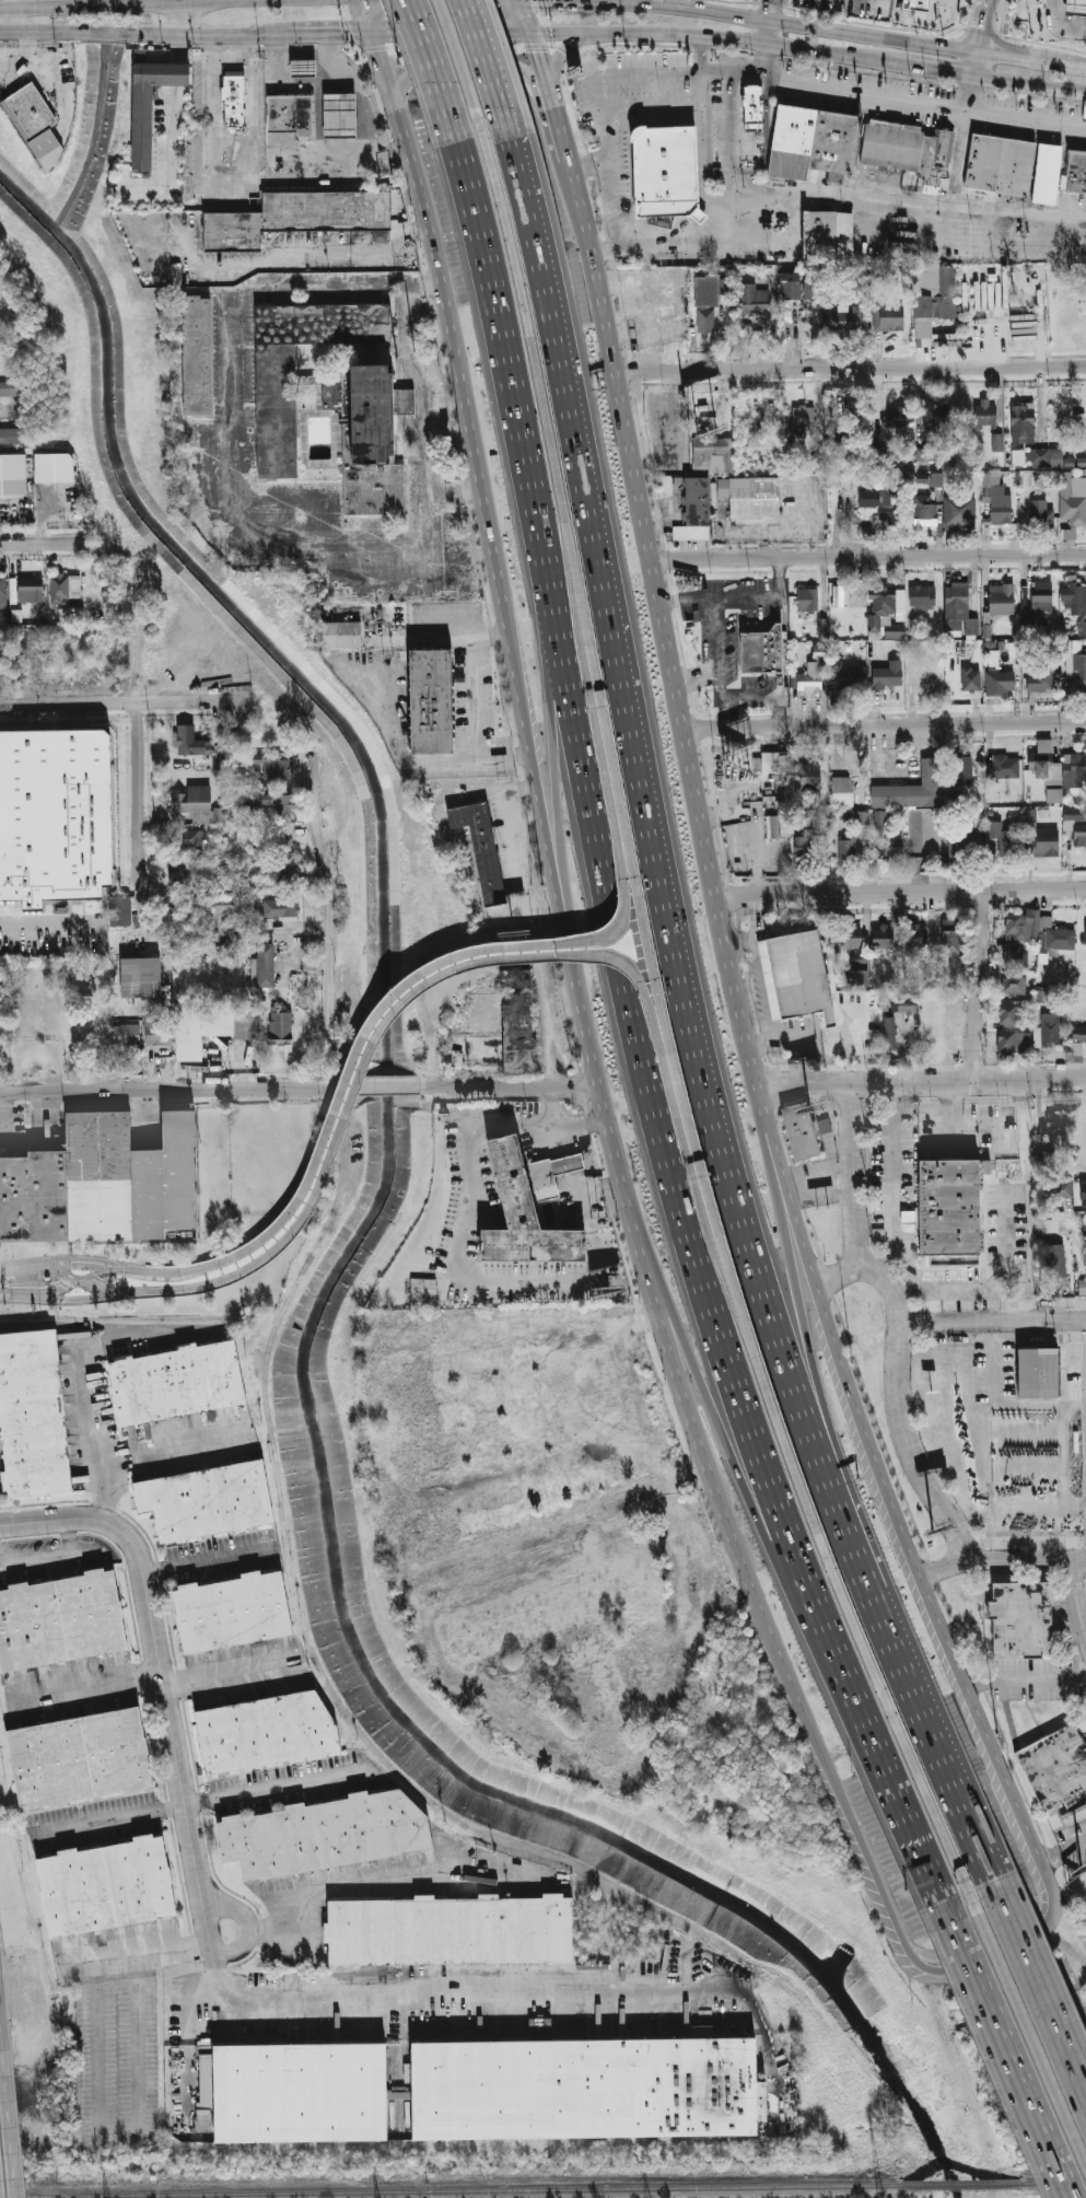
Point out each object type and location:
road: (372, 0)
traffic signals: (383, 0)
road: (189, 1)
road: (250, 1)
road: (115, 4)
road: (44, 7)
building: (918, 7)
building: (1077, 8)
gas station: (1077, 8)
road: (951, 9)
road: (769, 10)
road: (526, 16)
road: (366, 18)
road: (187, 20)
road: (11, 21)
road: (914, 22)
road: (795, 23)
road: (980, 24)
road: (1060, 24)
road: (1001, 26)
road: (766, 31)
road: (42, 34)
road: (112, 34)
road: (453, 35)
traffic signals: (510, 35)
road: (712, 35)
road: (214, 36)
road: (332, 36)
traffic signals: (346, 36)
road: (427, 53)
traffic signals: (538, 53)
road: (456, 54)
road: (484, 54)
road: (292, 55)
road: (229, 56)
road: (560, 56)
road: (1024, 56)
road: (764, 59)
road: (974, 63)
road: (1078, 63)
road: (268, 67)
road: (542, 67)
building: (301, 68)
gas station: (301, 68)
road: (345, 69)
road: (932, 70)
road: (627, 77)
road: (476, 81)
road: (1029, 85)
road: (969, 94)
road: (892, 97)
building: (236, 98)
building: (148, 105)
road: (252, 105)
building: (750, 108)
building: (30, 111)
building: (289, 114)
building: (338, 115)
gas station: (338, 115)
road: (318, 126)
road: (364, 130)
road: (563, 132)
building: (809, 141)
building: (906, 153)
road: (958, 158)
building: (383, 162)
building: (996, 165)
building: (664, 171)
building: (1074, 171)
building: (1044, 173)
road: (208, 174)
road: (609, 184)
road: (725, 194)
road: (908, 200)
building: (299, 216)
road: (506, 223)
building: (828, 233)
road: (609, 251)
road: (292, 255)
road: (677, 255)
road: (422, 280)
building: (790, 286)
building: (808, 288)
building: (710, 289)
building: (752, 299)
building: (933, 299)
building: (638, 313)
building: (844, 317)
building: (888, 317)
building: (705, 319)
road: (501, 346)
building: (404, 349)
building: (196, 356)
road: (852, 369)
road: (419, 385)
building: (7, 387)
building: (404, 402)
building: (276, 410)
building: (984, 412)
building: (804, 416)
building: (898, 416)
building: (936, 418)
building: (1023, 423)
building: (9, 432)
building: (997, 442)
building: (373, 446)
building: (711, 453)
building: (925, 453)
building: (1017, 456)
building: (1043, 457)
building: (1070, 457)
building: (57, 466)
road: (551, 466)
building: (15, 474)
building: (936, 479)
building: (723, 487)
road: (453, 488)
building: (754, 499)
building: (1073, 502)
building: (879, 503)
building: (999, 507)
building: (694, 510)
building: (960, 513)
building: (923, 514)
building: (1040, 514)
road: (767, 532)
road: (44, 545)
road: (869, 558)
road: (425, 581)
building: (63, 586)
building: (30, 590)
building: (3, 591)
building: (841, 595)
building: (921, 595)
road: (498, 596)
building: (1040, 596)
road: (738, 597)
building: (807, 598)
building: (1076, 598)
building: (1001, 600)
building: (880, 604)
building: (959, 605)
building: (70, 615)
building: (1028, 617)
road: (666, 624)
building: (822, 627)
building: (1082, 628)
building: (986, 631)
building: (343, 635)
road: (459, 637)
road: (783, 648)
building: (760, 649)
building: (1076, 670)
road: (697, 674)
building: (813, 674)
building: (885, 676)
building: (849, 677)
building: (970, 677)
building: (1041, 678)
building: (927, 681)
building: (1000, 681)
road: (716, 693)
building: (432, 702)
road: (120, 703)
road: (885, 725)
building: (189, 741)
road: (140, 758)
building: (774, 761)
building: (1002, 766)
building: (1077, 766)
building: (964, 767)
building: (1047, 769)
building: (932, 772)
building: (809, 779)
building: (783, 787)
building: (842, 790)
building: (890, 793)
road: (556, 798)
building: (278, 802)
building: (198, 804)
building: (880, 816)
building: (55, 818)
building: (247, 822)
building: (1076, 822)
building: (778, 826)
building: (969, 837)
building: (1002, 837)
building: (1039, 837)
building: (188, 838)
building: (281, 842)
building: (481, 846)
building: (811, 846)
building: (894, 846)
building: (958, 846)
building: (846, 847)
building: (178, 875)
road: (901, 892)
building: (230, 904)
building: (280, 907)
building: (119, 910)
road: (522, 912)
building: (159, 920)
road: (670, 921)
building: (1044, 921)
road: (328, 923)
building: (1018, 924)
road: (49, 930)
building: (1085, 932)
road: (644, 934)
building: (849, 934)
building: (881, 935)
building: (950, 937)
building: (915, 938)
building: (1058, 939)
road: (480, 947)
building: (1014, 955)
road: (479, 958)
building: (265, 965)
building: (796, 975)
building: (143, 976)
building: (857, 976)
building: (831, 979)
road: (979, 987)
building: (1014, 987)
building: (907, 1001)
building: (936, 1002)
building: (1011, 1014)
road: (428, 1019)
building: (202, 1027)
building: (941, 1027)
building: (280, 1028)
building: (1048, 1030)
building: (157, 1031)
building: (888, 1032)
building: (1078, 1033)
building: (126, 1034)
building: (503, 1039)
building: (1013, 1040)
road: (922, 1083)
road: (390, 1084)
road: (509, 1084)
road: (176, 1089)
road: (575, 1121)
building: (1055, 1124)
building: (799, 1130)
road: (651, 1136)
building: (567, 1161)
road: (890, 1161)
building: (104, 1185)
road: (474, 1185)
building: (1055, 1189)
building: (1083, 1191)
road: (856, 1196)
building: (946, 1203)
building: (524, 1207)
building: (909, 1217)
road: (1078, 1223)
building: (379, 1224)
building: (1047, 1225)
river: (352, 1245)
road: (68, 1259)
building: (954, 1259)
building: (1054, 1265)
road: (49, 1267)
road: (106, 1270)
road: (156, 1270)
road: (999, 1277)
road: (816, 1283)
building: (1082, 1287)
building: (422, 1288)
road: (59, 1289)
road: (105, 1289)
road: (13, 1290)
road: (159, 1291)
road: (13, 1296)
road: (80, 1299)
road: (933, 1313)
road: (991, 1319)
road: (103, 1325)
road: (669, 1368)
building: (1037, 1370)
building: (178, 1383)
road: (819, 1403)
road: (766, 1406)
road: (897, 1407)
road: (715, 1414)
building: (34, 1416)
road: (101, 1437)
road: (179, 1443)
road: (1044, 1489)
building: (208, 1504)
road: (49, 1555)
road: (1001, 1556)
road: (212, 1573)
road: (1078, 1590)
building: (234, 1614)
building: (1020, 1617)
building: (61, 1621)
road: (770, 1631)
road: (959, 1670)
road: (153, 1673)
road: (1024, 1676)
road: (160, 1683)
road: (889, 1712)
building: (267, 1730)
building: (81, 1756)
building: (1056, 1768)
road: (883, 1782)
road: (960, 1791)
road: (209, 1794)
building: (324, 1834)
road: (1062, 1848)
building: (108, 1885)
road: (879, 1887)
road: (330, 1888)
road: (1050, 1894)
road: (244, 1919)
building: (451, 1930)
road: (1071, 1939)
road: (137, 1946)
road: (217, 1974)
road: (1039, 1982)
road: (451, 1984)
road: (3, 1990)
building: (540, 2028)
road: (1026, 2028)
road: (137, 2034)
road: (95, 2045)
road: (1002, 2048)
road: (186, 2054)
building: (584, 2089)
building: (296, 2093)
road: (15, 2109)
river: (944, 2175)
road: (1, 2180)
railway: (1054, 2183)
railway: (962, 2185)
railway: (453, 2193)

